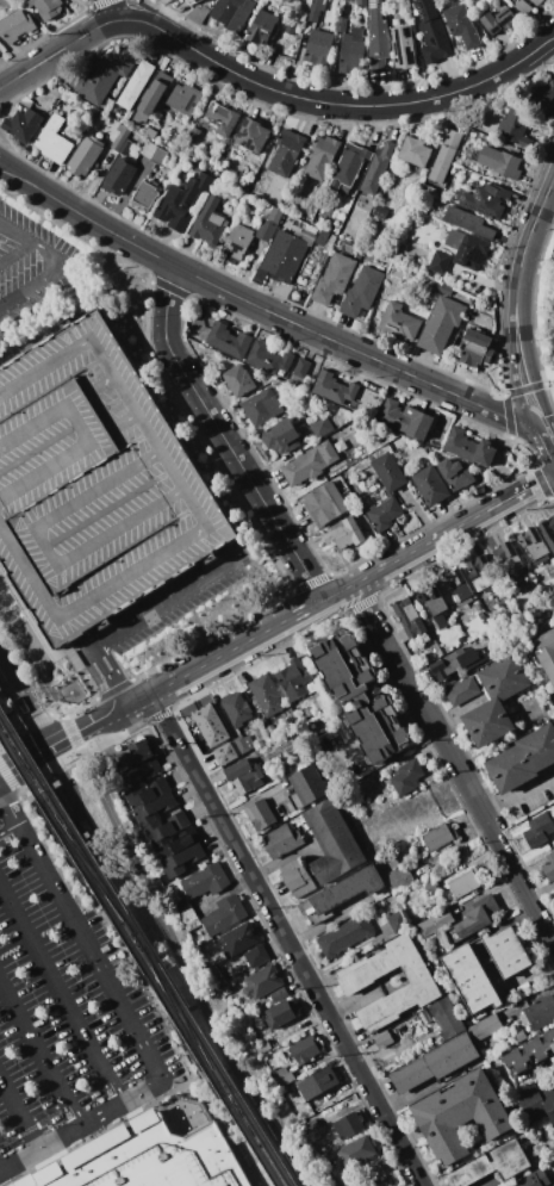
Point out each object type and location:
building: (192, 1)
building: (496, 4)
building: (527, 5)
building: (46, 7)
road: (117, 10)
building: (316, 10)
building: (232, 13)
building: (197, 14)
building: (498, 21)
building: (340, 24)
building: (461, 25)
building: (17, 26)
building: (262, 27)
building: (290, 30)
building: (431, 32)
road: (553, 37)
road: (553, 38)
building: (378, 39)
building: (403, 46)
building: (319, 48)
building: (351, 51)
building: (107, 75)
road: (268, 85)
building: (136, 86)
building: (152, 98)
building: (185, 99)
building: (542, 100)
building: (223, 119)
building: (23, 125)
building: (516, 128)
building: (150, 133)
building: (193, 136)
building: (253, 136)
building: (120, 138)
building: (54, 141)
building: (124, 149)
building: (148, 149)
building: (286, 151)
building: (416, 153)
building: (158, 155)
building: (475, 155)
building: (85, 156)
building: (446, 156)
building: (322, 157)
building: (500, 162)
building: (349, 169)
building: (374, 175)
building: (118, 176)
building: (245, 185)
building: (144, 197)
building: (485, 198)
building: (182, 200)
road: (549, 206)
building: (380, 212)
road: (1, 223)
building: (208, 223)
building: (468, 223)
road: (1, 224)
building: (269, 224)
building: (332, 225)
road: (18, 234)
building: (322, 238)
building: (238, 244)
building: (468, 249)
road: (17, 254)
building: (282, 257)
building: (440, 261)
parking lot: (35, 263)
building: (397, 273)
road: (49, 275)
building: (334, 279)
building: (430, 285)
building: (446, 290)
building: (362, 291)
road: (70, 297)
road: (519, 297)
road: (264, 309)
building: (399, 323)
building: (442, 324)
building: (228, 340)
building: (478, 349)
building: (269, 360)
building: (303, 368)
building: (238, 380)
building: (335, 389)
building: (262, 408)
building: (406, 420)
road: (541, 421)
building: (320, 427)
traffic signals: (543, 429)
building: (281, 436)
road: (548, 440)
road: (228, 441)
building: (396, 442)
building: (469, 448)
building: (311, 462)
building: (390, 472)
building: (504, 473)
building: (456, 474)
building: (95, 482)
parking lot: (95, 482)
building: (430, 486)
road: (524, 495)
building: (324, 505)
building: (385, 514)
building: (548, 530)
building: (343, 535)
building: (534, 545)
road: (430, 546)
building: (508, 559)
building: (481, 575)
building: (457, 588)
road: (348, 592)
parking lot: (181, 597)
road: (172, 603)
road: (64, 604)
building: (434, 604)
building: (410, 617)
road: (36, 628)
building: (546, 652)
building: (463, 654)
road: (228, 657)
building: (295, 679)
building: (462, 691)
building: (266, 694)
road: (27, 698)
building: (361, 698)
building: (496, 701)
building: (322, 703)
building: (237, 709)
building: (210, 724)
road: (91, 729)
building: (286, 732)
building: (244, 743)
building: (225, 755)
building: (132, 756)
building: (523, 758)
road: (454, 764)
road: (26, 765)
building: (139, 770)
building: (245, 774)
building: (407, 777)
building: (306, 787)
building: (144, 791)
road: (518, 795)
building: (154, 808)
building: (261, 815)
road: (8, 818)
building: (164, 830)
building: (536, 831)
building: (438, 837)
road: (8, 838)
building: (281, 840)
building: (331, 843)
building: (181, 852)
building: (553, 852)
building: (392, 861)
railway: (92, 868)
building: (548, 870)
building: (298, 878)
building: (399, 880)
building: (205, 881)
building: (465, 883)
building: (430, 887)
building: (341, 893)
road: (155, 899)
building: (394, 907)
road: (133, 912)
building: (187, 914)
building: (225, 914)
building: (474, 918)
building: (398, 921)
building: (435, 923)
building: (346, 936)
road: (290, 942)
building: (245, 945)
railway: (147, 948)
building: (506, 951)
railway: (141, 957)
building: (216, 977)
building: (263, 981)
building: (472, 981)
building: (359, 982)
park: (183, 985)
building: (226, 989)
road: (60, 993)
building: (280, 995)
parking lot: (61, 998)
building: (540, 1012)
building: (279, 1014)
railway: (185, 1018)
building: (447, 1018)
building: (485, 1026)
road: (135, 1035)
building: (521, 1036)
building: (384, 1038)
building: (480, 1045)
building: (262, 1047)
building: (303, 1051)
building: (529, 1051)
road: (39, 1053)
building: (436, 1063)
road: (198, 1067)
building: (284, 1076)
building: (316, 1083)
building: (533, 1104)
road: (18, 1116)
building: (462, 1116)
building: (310, 1125)
building: (349, 1125)
building: (325, 1129)
building: (356, 1151)
building: (148, 1159)
building: (492, 1165)
building: (539, 1178)

